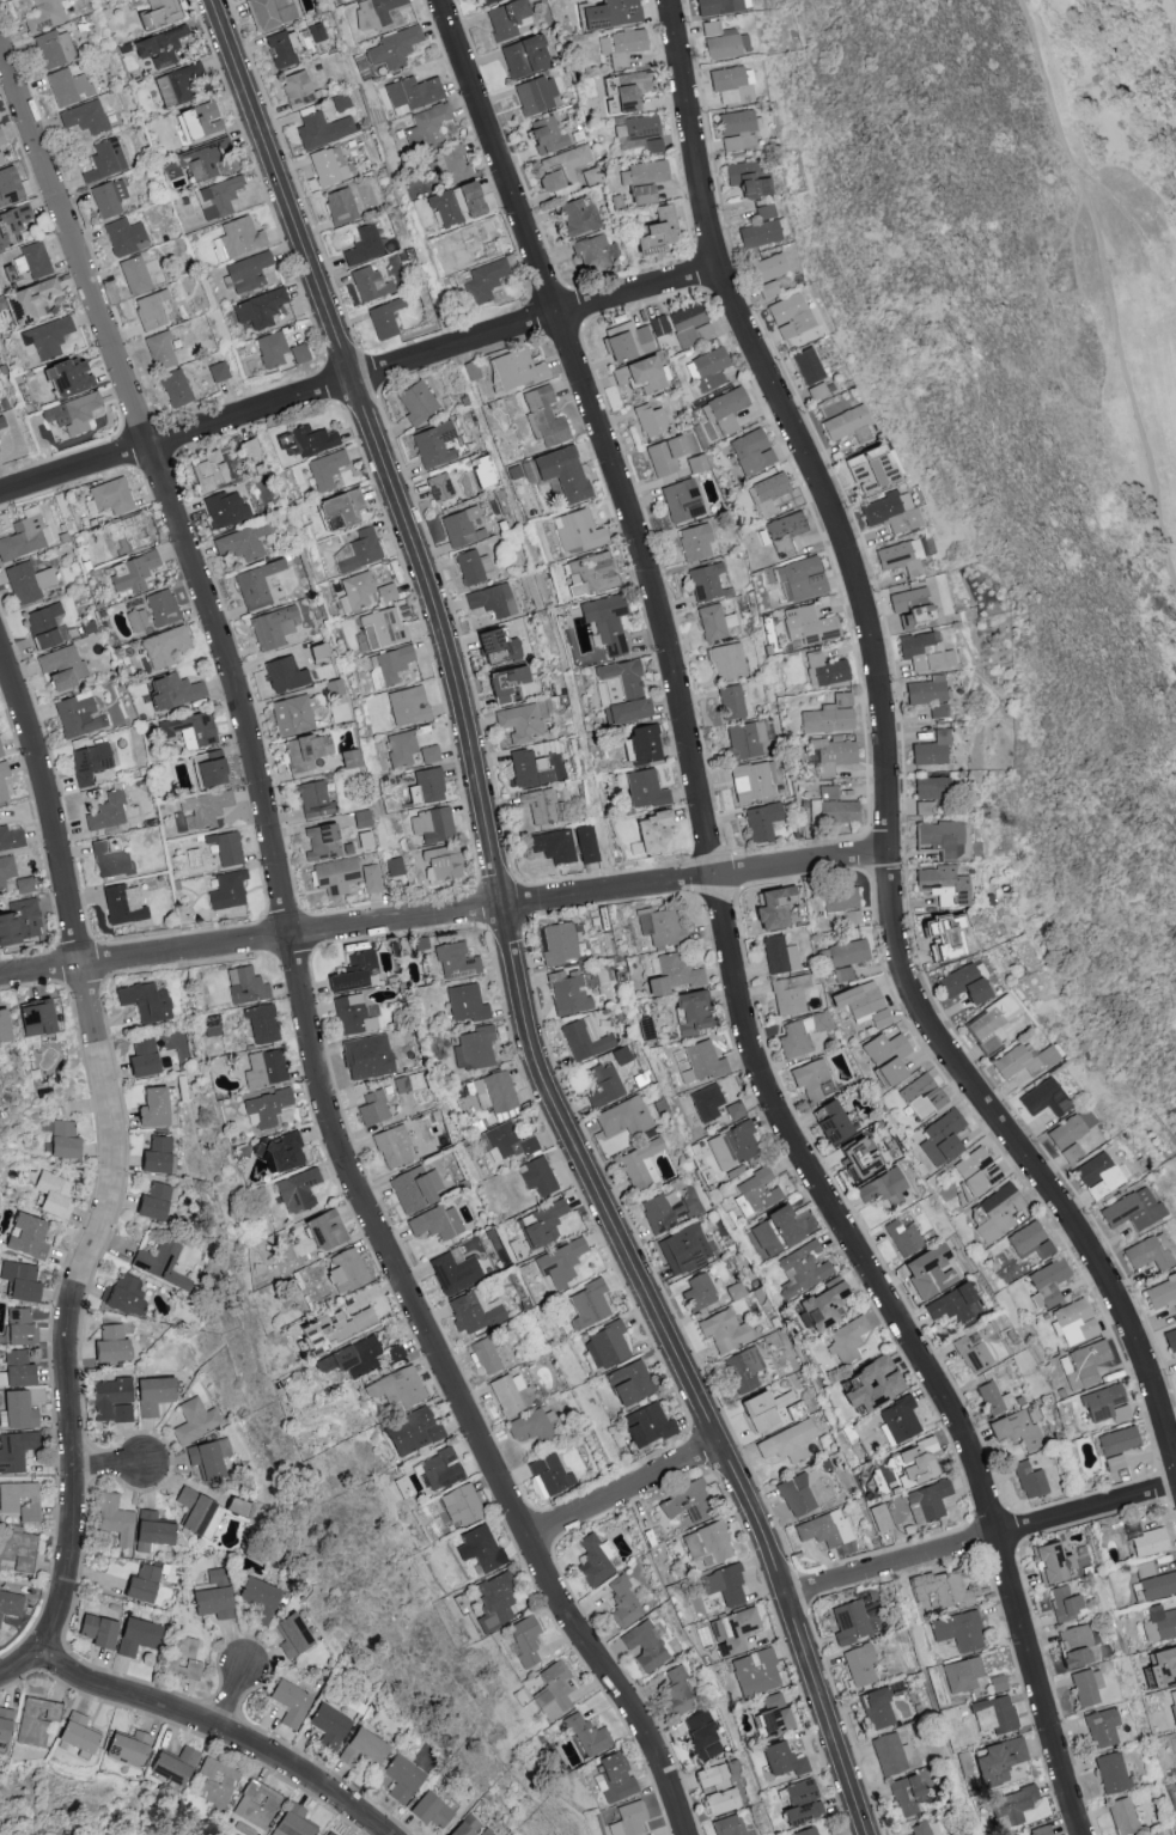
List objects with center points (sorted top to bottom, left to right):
building: (481, 1)
building: (718, 6)
building: (380, 8)
building: (162, 12)
building: (270, 12)
building: (605, 13)
building: (44, 14)
building: (505, 18)
building: (720, 41)
building: (621, 45)
building: (157, 47)
building: (54, 48)
building: (281, 48)
building: (392, 48)
building: (522, 55)
building: (179, 81)
building: (729, 84)
building: (294, 85)
building: (67, 86)
building: (624, 90)
building: (410, 92)
building: (535, 95)
building: (84, 117)
building: (196, 120)
building: (426, 126)
building: (321, 129)
building: (732, 130)
building: (635, 134)
building: (543, 135)
building: (0, 140)
building: (104, 159)
building: (205, 159)
building: (329, 166)
building: (560, 170)
building: (641, 173)
building: (742, 179)
building: (8, 183)
building: (639, 194)
building: (106, 196)
building: (218, 196)
building: (451, 203)
building: (339, 205)
building: (761, 212)
building: (577, 217)
building: (12, 222)
building: (653, 231)
building: (755, 233)
building: (123, 236)
building: (236, 238)
building: (474, 244)
building: (362, 245)
building: (592, 250)
building: (32, 260)
building: (764, 267)
building: (244, 272)
building: (133, 274)
building: (482, 281)
building: (368, 284)
building: (766, 288)
road: (1107, 291)
building: (26, 300)
building: (258, 307)
park: (1111, 307)
building: (150, 310)
building: (787, 315)
building: (383, 318)
building: (659, 324)
building: (688, 324)
building: (45, 336)
building: (624, 341)
building: (269, 348)
building: (158, 350)
building: (298, 353)
building: (805, 365)
building: (514, 368)
building: (707, 370)
building: (218, 371)
building: (640, 374)
building: (63, 376)
road: (357, 376)
building: (173, 388)
building: (816, 391)
building: (415, 402)
building: (725, 409)
building: (71, 411)
building: (543, 416)
park: (1036, 419)
building: (648, 420)
building: (1, 422)
building: (846, 425)
building: (306, 439)
building: (433, 444)
building: (250, 449)
building: (748, 451)
building: (663, 455)
building: (695, 463)
building: (869, 468)
building: (324, 469)
building: (206, 470)
building: (479, 471)
building: (557, 473)
building: (438, 487)
building: (768, 492)
building: (108, 496)
building: (680, 500)
building: (225, 508)
building: (888, 512)
building: (459, 526)
building: (575, 531)
building: (127, 534)
building: (780, 534)
building: (24, 535)
building: (242, 542)
building: (694, 542)
building: (898, 556)
building: (471, 566)
building: (593, 571)
building: (133, 573)
building: (800, 579)
building: (26, 580)
building: (703, 581)
building: (255, 584)
building: (361, 592)
building: (490, 599)
building: (910, 604)
building: (160, 606)
building: (605, 621)
building: (713, 622)
building: (41, 624)
building: (808, 626)
building: (273, 627)
building: (383, 627)
building: (485, 640)
building: (164, 646)
building: (508, 650)
building: (922, 652)
building: (726, 662)
building: (388, 665)
building: (60, 667)
building: (823, 670)
building: (284, 675)
building: (504, 685)
building: (172, 690)
building: (620, 693)
building: (927, 695)
building: (730, 702)
building: (407, 706)
building: (77, 714)
building: (290, 715)
building: (829, 715)
building: (519, 723)
building: (189, 730)
building: (744, 739)
building: (641, 743)
building: (400, 748)
road: (885, 748)
building: (930, 749)
building: (304, 751)
building: (0, 752)
building: (428, 754)
building: (830, 754)
building: (349, 758)
building: (89, 762)
building: (528, 768)
building: (208, 769)
building: (2, 781)
building: (752, 781)
building: (428, 785)
building: (644, 788)
building: (930, 790)
building: (828, 793)
building: (410, 794)
building: (313, 799)
building: (540, 805)
building: (202, 809)
building: (105, 811)
building: (833, 811)
building: (760, 822)
building: (431, 825)
building: (650, 830)
building: (10, 837)
building: (939, 837)
building: (321, 842)
building: (585, 843)
building: (553, 845)
building: (225, 847)
building: (106, 860)
building: (440, 862)
building: (392, 866)
building: (5, 870)
building: (335, 876)
building: (370, 878)
building: (23, 885)
building: (940, 885)
building: (226, 890)
building: (121, 904)
building: (841, 906)
building: (772, 908)
road: (443, 913)
building: (19, 922)
building: (658, 926)
road: (505, 929)
road: (725, 932)
building: (945, 935)
building: (559, 943)
building: (847, 952)
building: (779, 955)
road: (294, 962)
building: (453, 962)
building: (842, 974)
building: (669, 975)
building: (244, 984)
building: (961, 984)
building: (788, 994)
building: (568, 995)
building: (144, 1001)
building: (464, 1004)
building: (860, 1004)
building: (690, 1012)
building: (351, 1014)
building: (33, 1018)
building: (260, 1024)
building: (988, 1024)
building: (2, 1029)
building: (800, 1034)
building: (584, 1040)
building: (473, 1048)
building: (621, 1055)
building: (884, 1056)
building: (141, 1057)
building: (357, 1057)
building: (1022, 1061)
building: (696, 1062)
building: (263, 1069)
building: (811, 1079)
building: (604, 1085)
building: (494, 1092)
building: (921, 1096)
building: (1042, 1099)
building: (705, 1103)
building: (150, 1108)
building: (263, 1108)
building: (371, 1108)
building: (733, 1110)
building: (624, 1117)
building: (828, 1123)
building: (1067, 1129)
building: (940, 1138)
building: (61, 1140)
building: (505, 1142)
building: (392, 1146)
building: (732, 1146)
road: (114, 1148)
building: (282, 1152)
building: (1068, 1153)
building: (153, 1157)
building: (858, 1157)
building: (641, 1164)
building: (976, 1171)
building: (1097, 1176)
building: (537, 1177)
building: (414, 1188)
building: (881, 1188)
building: (757, 1189)
building: (295, 1190)
building: (53, 1194)
building: (151, 1202)
building: (1131, 1209)
building: (669, 1211)
building: (997, 1213)
building: (434, 1223)
building: (542, 1225)
building: (322, 1230)
building: (773, 1231)
building: (26, 1237)
building: (902, 1238)
building: (1029, 1240)
building: (683, 1249)
building: (1147, 1254)
building: (559, 1262)
building: (160, 1263)
building: (921, 1267)
building: (799, 1269)
building: (343, 1270)
building: (453, 1273)
building: (18, 1281)
building: (1046, 1285)
building: (697, 1293)
building: (1160, 1293)
building: (122, 1296)
building: (586, 1305)
building: (950, 1305)
building: (816, 1309)
building: (473, 1312)
building: (1073, 1323)
building: (19, 1328)
building: (330, 1329)
building: (723, 1331)
building: (1169, 1337)
building: (846, 1339)
building: (108, 1345)
building: (971, 1352)
building: (482, 1355)
building: (348, 1358)
building: (1083, 1365)
building: (17, 1368)
building: (743, 1370)
building: (627, 1383)
building: (867, 1384)
building: (395, 1388)
building: (511, 1394)
building: (108, 1396)
building: (151, 1396)
building: (993, 1400)
building: (1105, 1406)
building: (763, 1409)
building: (16, 1410)
building: (121, 1413)
building: (194, 1420)
building: (897, 1421)
building: (532, 1426)
building: (645, 1426)
building: (1017, 1427)
building: (409, 1432)
building: (1116, 1441)
building: (787, 1443)
building: (13, 1451)
building: (207, 1458)
building: (914, 1462)
building: (1114, 1463)
building: (439, 1469)
road: (110, 1470)
building: (547, 1476)
building: (1029, 1481)
road: (622, 1490)
building: (796, 1495)
building: (19, 1500)
building: (928, 1500)
building: (686, 1502)
building: (458, 1505)
building: (234, 1507)
building: (197, 1514)
building: (879, 1518)
building: (111, 1519)
building: (148, 1529)
building: (823, 1530)
road: (980, 1538)
building: (1145, 1540)
building: (707, 1544)
building: (477, 1548)
building: (846, 1549)
building: (17, 1551)
building: (1048, 1560)
building: (592, 1561)
building: (1154, 1581)
building: (140, 1585)
building: (725, 1585)
building: (939, 1587)
building: (208, 1597)
building: (255, 1598)
building: (494, 1602)
building: (622, 1603)
building: (1064, 1603)
building: (10, 1604)
building: (849, 1621)
building: (1156, 1624)
building: (958, 1629)
building: (733, 1630)
building: (95, 1632)
building: (290, 1635)
building: (133, 1636)
building: (523, 1641)
building: (644, 1645)
building: (1072, 1645)
building: (182, 1657)
building: (859, 1664)
road: (23, 1665)
building: (1160, 1666)
building: (754, 1671)
building: (961, 1674)
building: (995, 1682)
building: (1085, 1685)
building: (553, 1690)
building: (677, 1690)
road: (230, 1695)
building: (290, 1703)
building: (1171, 1705)
building: (876, 1707)
building: (997, 1711)
building: (772, 1714)
building: (35, 1720)
building: (4, 1723)
building: (327, 1725)
road: (218, 1726)
building: (1101, 1727)
building: (74, 1731)
building: (700, 1735)
building: (586, 1736)
building: (364, 1744)
building: (126, 1746)
building: (889, 1754)
building: (1175, 1754)
building: (780, 1757)
building: (997, 1760)
building: (173, 1764)
building: (1110, 1773)
building: (400, 1776)
building: (613, 1776)
building: (217, 1782)
building: (717, 1785)
building: (1175, 1786)
building: (906, 1794)
building: (799, 1800)
building: (256, 1804)
building: (1010, 1806)
building: (427, 1809)
building: (1126, 1815)
building: (627, 1818)
building: (291, 1822)
building: (729, 1825)
building: (468, 1827)
building: (919, 1828)
building: (804, 1831)
building: (1038, 1831)
building: (325, 1833)
building: (1159, 1834)

